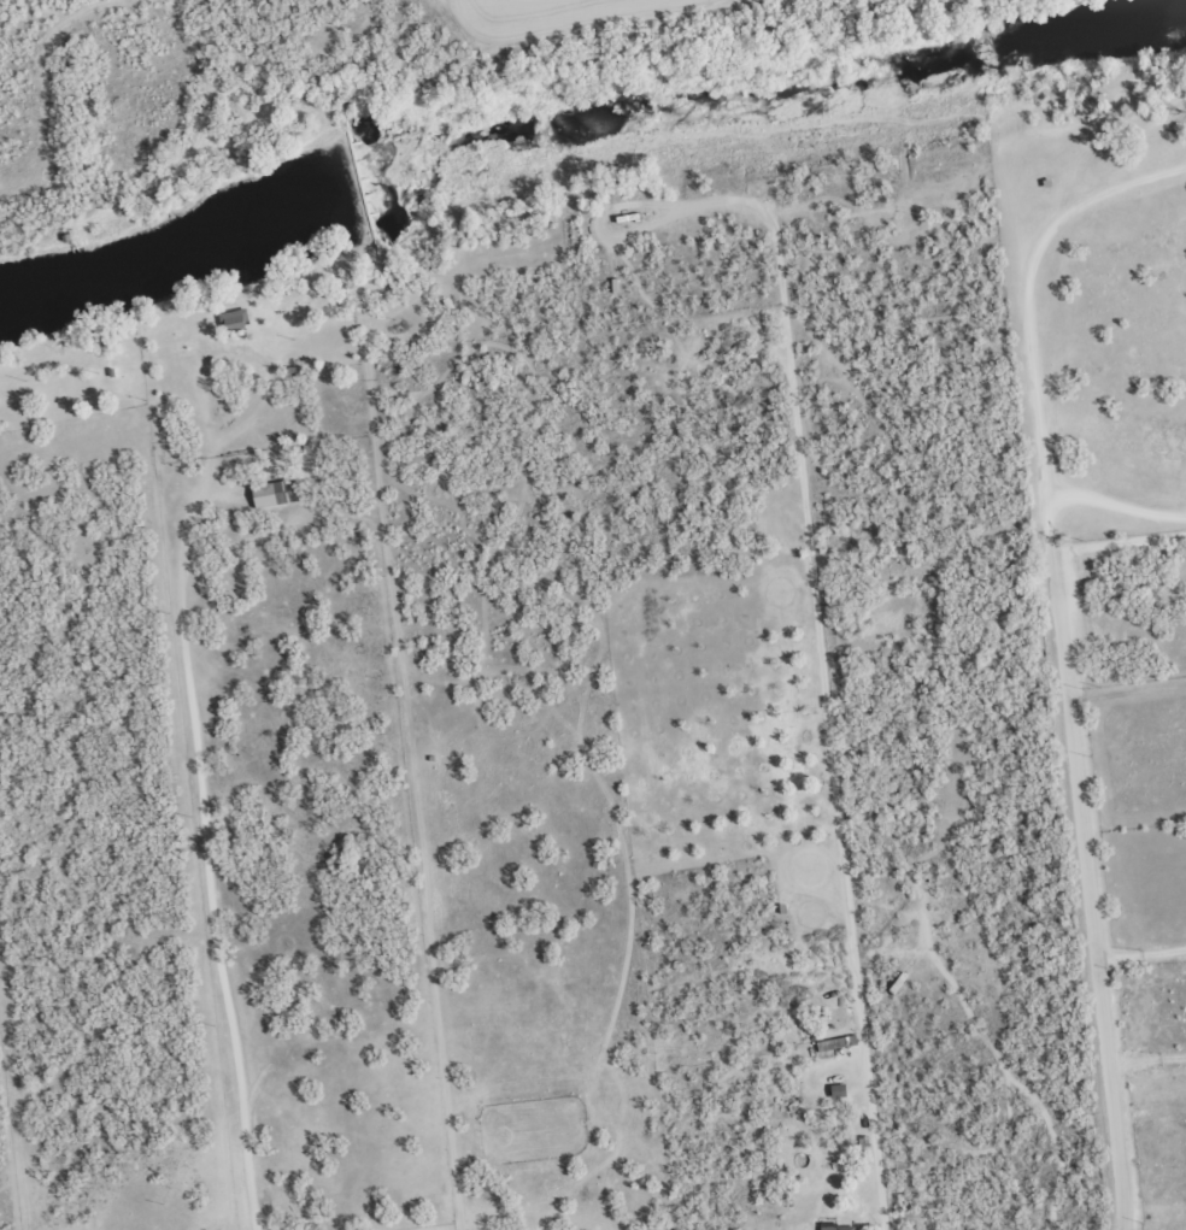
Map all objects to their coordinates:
road: (39, 84)
road: (271, 107)
river: (576, 128)
dam: (360, 193)
building: (235, 318)
building: (275, 493)
road: (1134, 529)
road: (4, 648)
road: (1092, 649)
building: (838, 1228)

